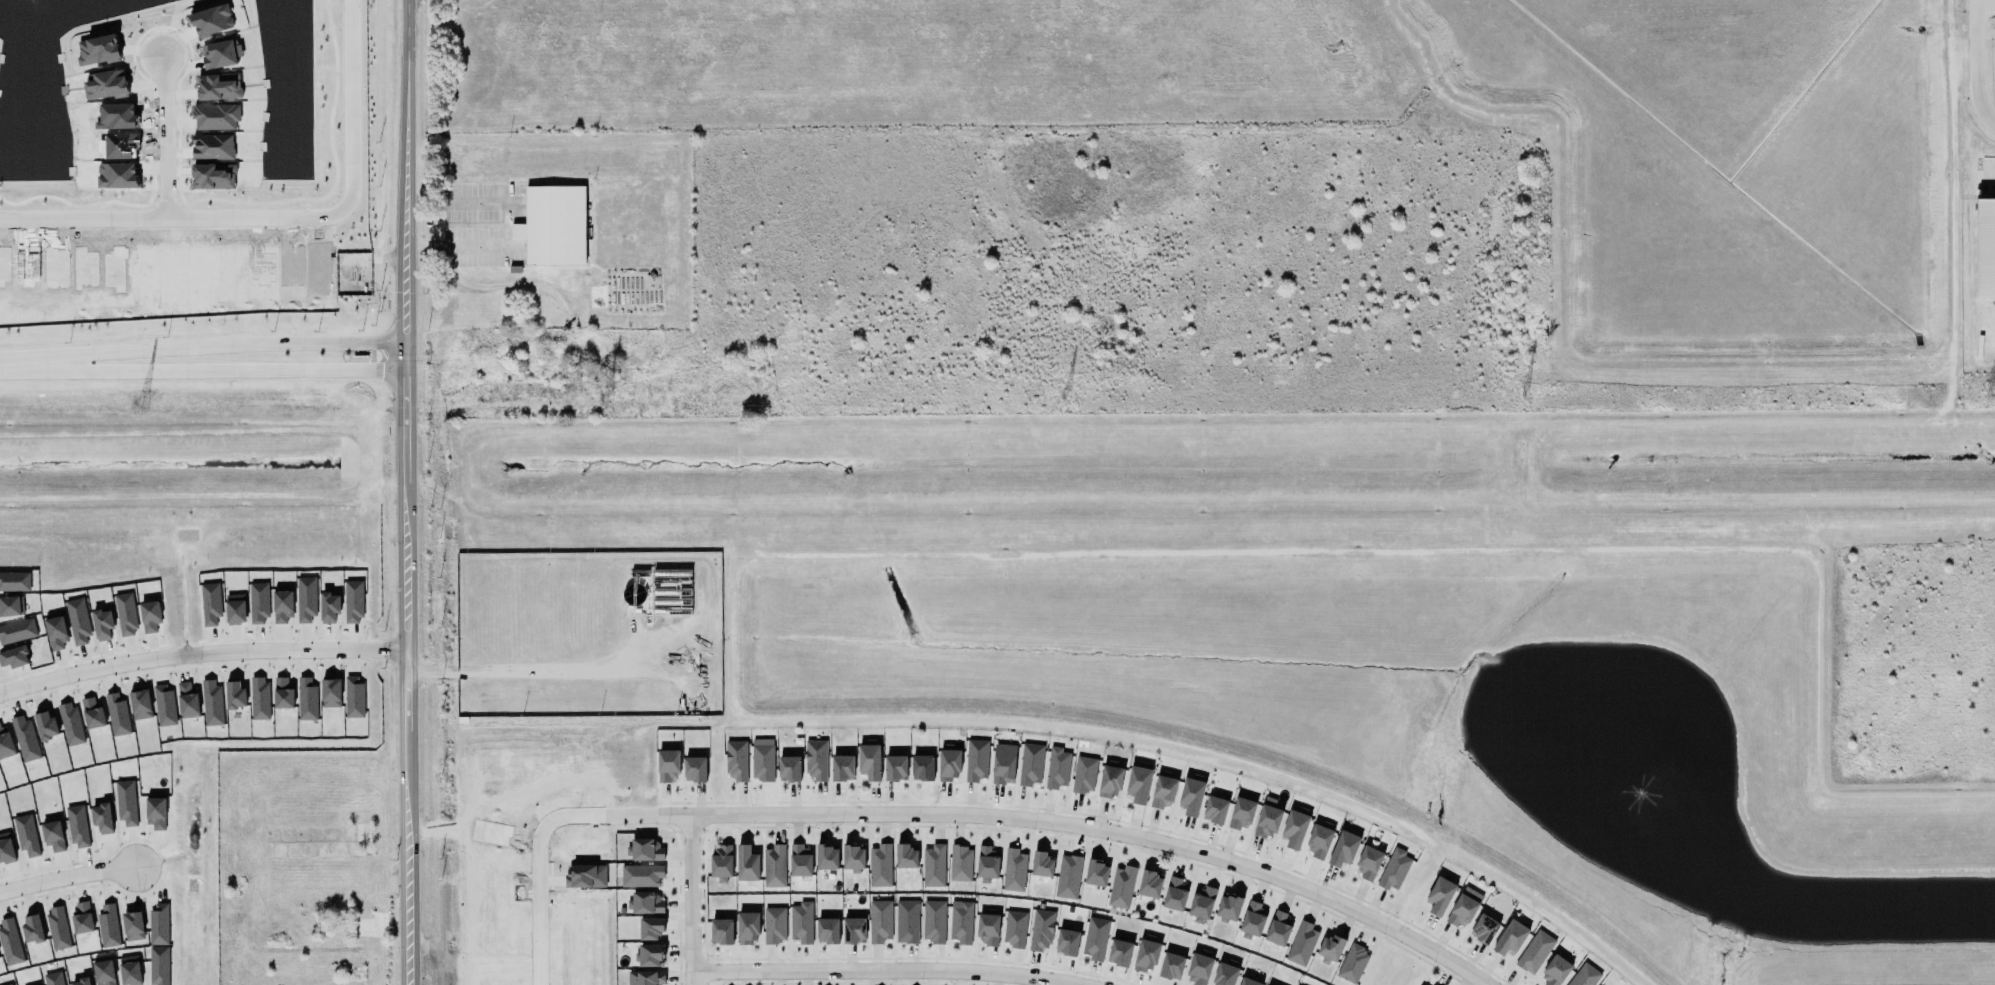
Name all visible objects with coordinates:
road: (1977, 64)
road: (350, 106)
road: (165, 139)
road: (1990, 178)
road: (172, 220)
building: (553, 225)
road: (519, 226)
building: (1985, 242)
road: (237, 349)
road: (35, 362)
road: (238, 370)
power tower: (1526, 393)
power tower: (1063, 396)
power tower: (1984, 396)
power tower: (604, 401)
power tower: (141, 406)
road: (407, 492)
building: (14, 581)
building: (306, 597)
building: (10, 602)
building: (353, 602)
building: (209, 603)
building: (258, 603)
building: (282, 606)
building: (329, 607)
building: (235, 609)
building: (125, 614)
building: (150, 616)
building: (78, 622)
building: (102, 624)
building: (16, 629)
building: (56, 632)
road: (202, 654)
building: (14, 658)
road: (541, 672)
building: (283, 693)
building: (331, 693)
building: (235, 695)
building: (352, 695)
building: (306, 697)
building: (259, 698)
building: (187, 700)
building: (140, 702)
building: (212, 703)
building: (163, 704)
building: (92, 711)
building: (117, 715)
building: (70, 724)
building: (45, 725)
building: (24, 738)
building: (4, 742)
fountain: (1607, 757)
building: (816, 759)
building: (974, 759)
building: (736, 760)
building: (762, 760)
building: (869, 762)
building: (947, 763)
building: (1002, 763)
building: (922, 764)
building: (1030, 764)
building: (667, 765)
building: (790, 765)
building: (840, 767)
building: (693, 768)
building: (895, 768)
building: (1057, 768)
building: (1084, 774)
building: (1108, 778)
building: (1138, 784)
building: (1162, 792)
building: (1191, 796)
building: (124, 800)
building: (1215, 807)
building: (155, 813)
building: (1241, 813)
building: (101, 818)
building: (1266, 818)
road: (1065, 824)
building: (1295, 825)
building: (77, 827)
building: (25, 834)
building: (363, 834)
building: (53, 836)
building: (1318, 841)
building: (1342, 848)
building: (6, 849)
building: (644, 850)
building: (824, 856)
building: (905, 856)
building: (853, 858)
building: (1367, 860)
building: (800, 861)
building: (959, 862)
building: (987, 862)
building: (721, 863)
building: (744, 863)
building: (772, 863)
building: (879, 863)
building: (1039, 863)
building: (932, 865)
building: (1014, 870)
building: (1395, 870)
road: (538, 871)
building: (1097, 873)
building: (639, 875)
building: (1066, 875)
road: (63, 878)
building: (1150, 884)
building: (1120, 886)
building: (1175, 893)
building: (1439, 896)
road: (692, 899)
building: (643, 900)
building: (1201, 900)
building: (1229, 907)
building: (1464, 907)
building: (81, 916)
building: (1250, 919)
building: (932, 920)
building: (880, 921)
building: (905, 921)
building: (800, 922)
building: (959, 922)
building: (132, 923)
building: (107, 924)
building: (159, 924)
building: (774, 925)
building: (747, 927)
building: (988, 927)
building: (32, 928)
building: (57, 928)
building: (371, 928)
building: (650, 928)
building: (1276, 928)
building: (1014, 929)
building: (1039, 929)
building: (1483, 929)
building: (825, 930)
building: (852, 930)
building: (721, 931)
building: (1095, 937)
building: (1509, 937)
building: (10, 942)
building: (1067, 942)
building: (1301, 942)
building: (1328, 948)
building: (1120, 949)
building: (1533, 951)
building: (650, 955)
building: (1146, 956)
building: (1352, 964)
building: (159, 965)
building: (1169, 965)
building: (1198, 967)
road: (888, 968)
building: (129, 970)
building: (1555, 971)
building: (103, 972)
building: (1224, 972)
building: (644, 976)
building: (1583, 976)
building: (51, 977)
building: (80, 979)
building: (1247, 981)
building: (8, 984)
building: (1423, 984)

